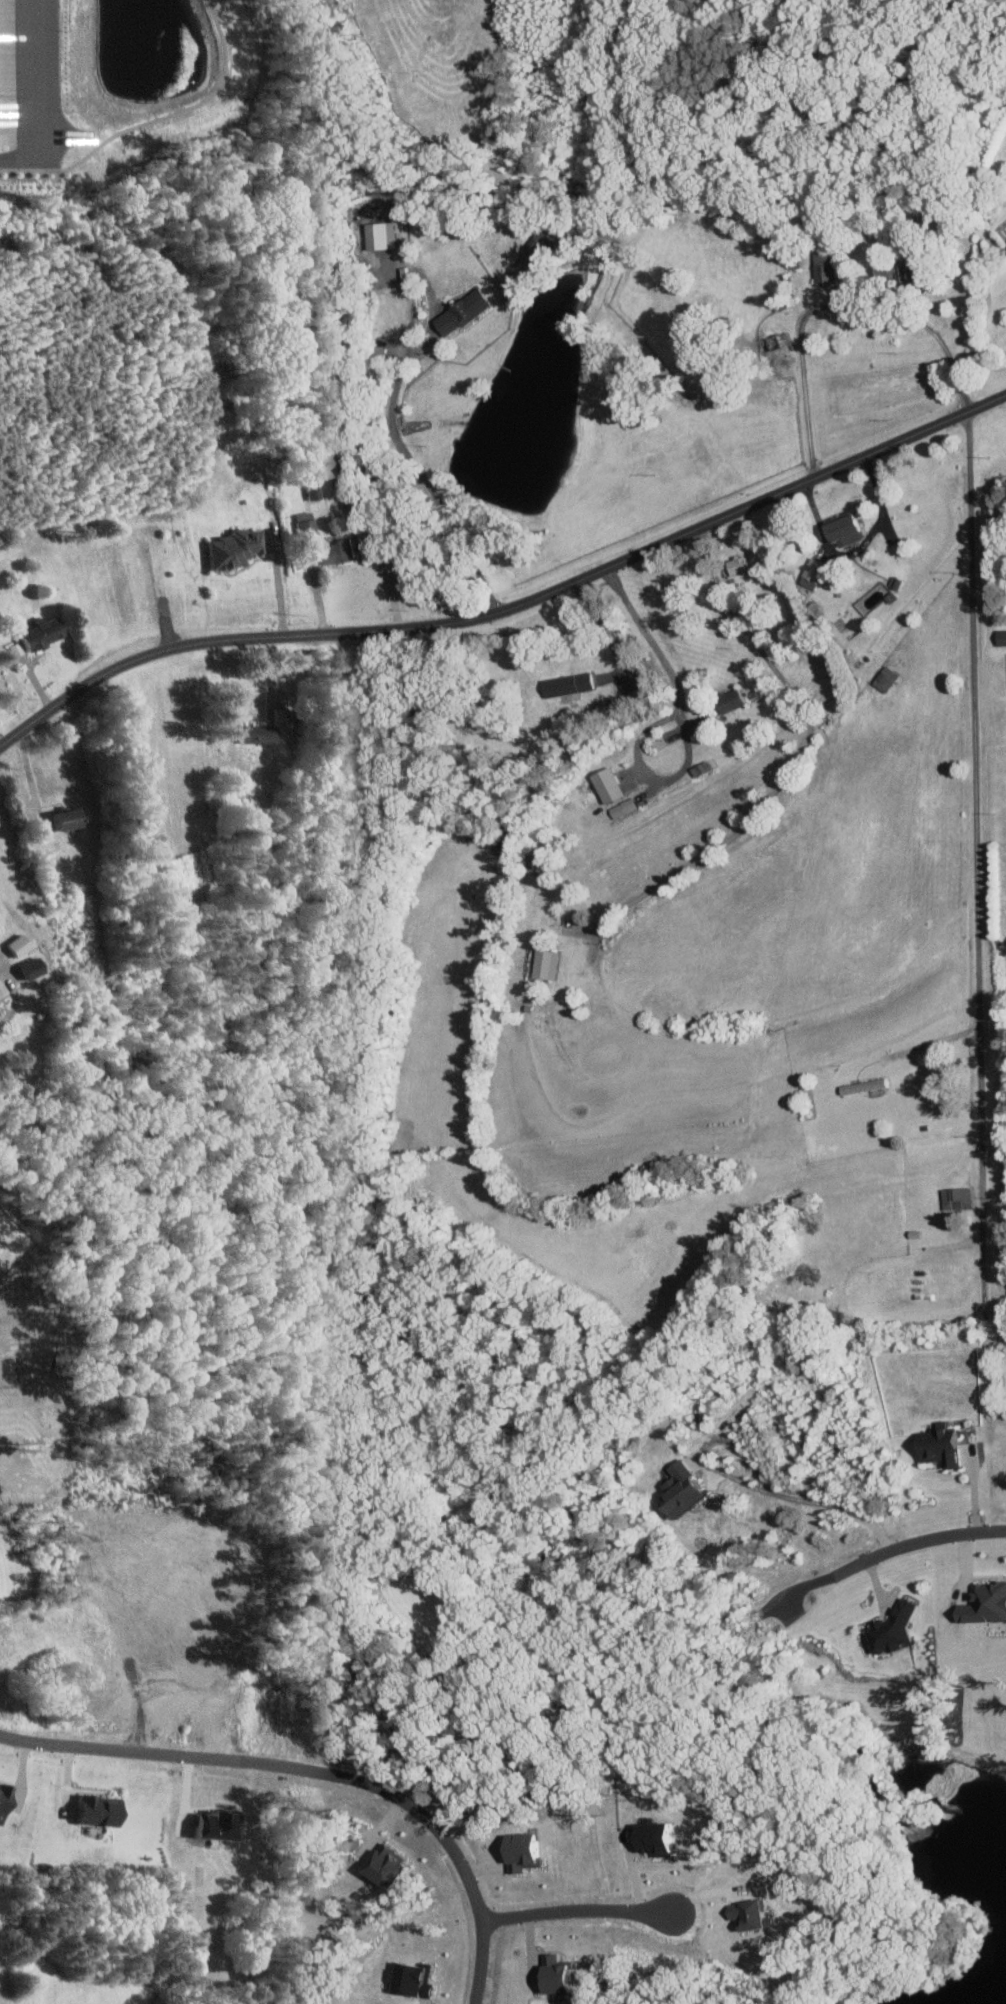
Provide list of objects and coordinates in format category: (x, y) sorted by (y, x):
road: (44, 99)
building: (537, 248)
building: (822, 269)
road: (831, 305)
building: (468, 312)
building: (777, 343)
building: (345, 466)
road: (428, 489)
building: (316, 492)
building: (308, 526)
building: (840, 529)
building: (239, 549)
building: (343, 552)
road: (378, 557)
building: (734, 563)
building: (809, 572)
road: (280, 587)
road: (509, 608)
road: (603, 629)
building: (45, 633)
building: (999, 636)
building: (882, 678)
building: (565, 684)
building: (725, 700)
road: (681, 724)
building: (262, 734)
road: (792, 762)
road: (32, 781)
building: (604, 783)
building: (620, 807)
building: (71, 820)
road: (975, 836)
building: (528, 862)
building: (543, 963)
building: (35, 968)
road: (937, 1041)
building: (873, 1083)
building: (954, 1197)
building: (832, 1317)
building: (935, 1445)
building: (676, 1489)
road: (810, 1498)
road: (921, 1539)
road: (803, 1586)
building: (982, 1603)
building: (888, 1630)
road: (109, 1749)
building: (6, 1804)
building: (103, 1810)
road: (418, 1813)
building: (224, 1825)
building: (649, 1838)
building: (518, 1851)
building: (394, 1864)
road: (579, 1911)
building: (747, 1914)
building: (550, 1974)
building: (419, 1979)

